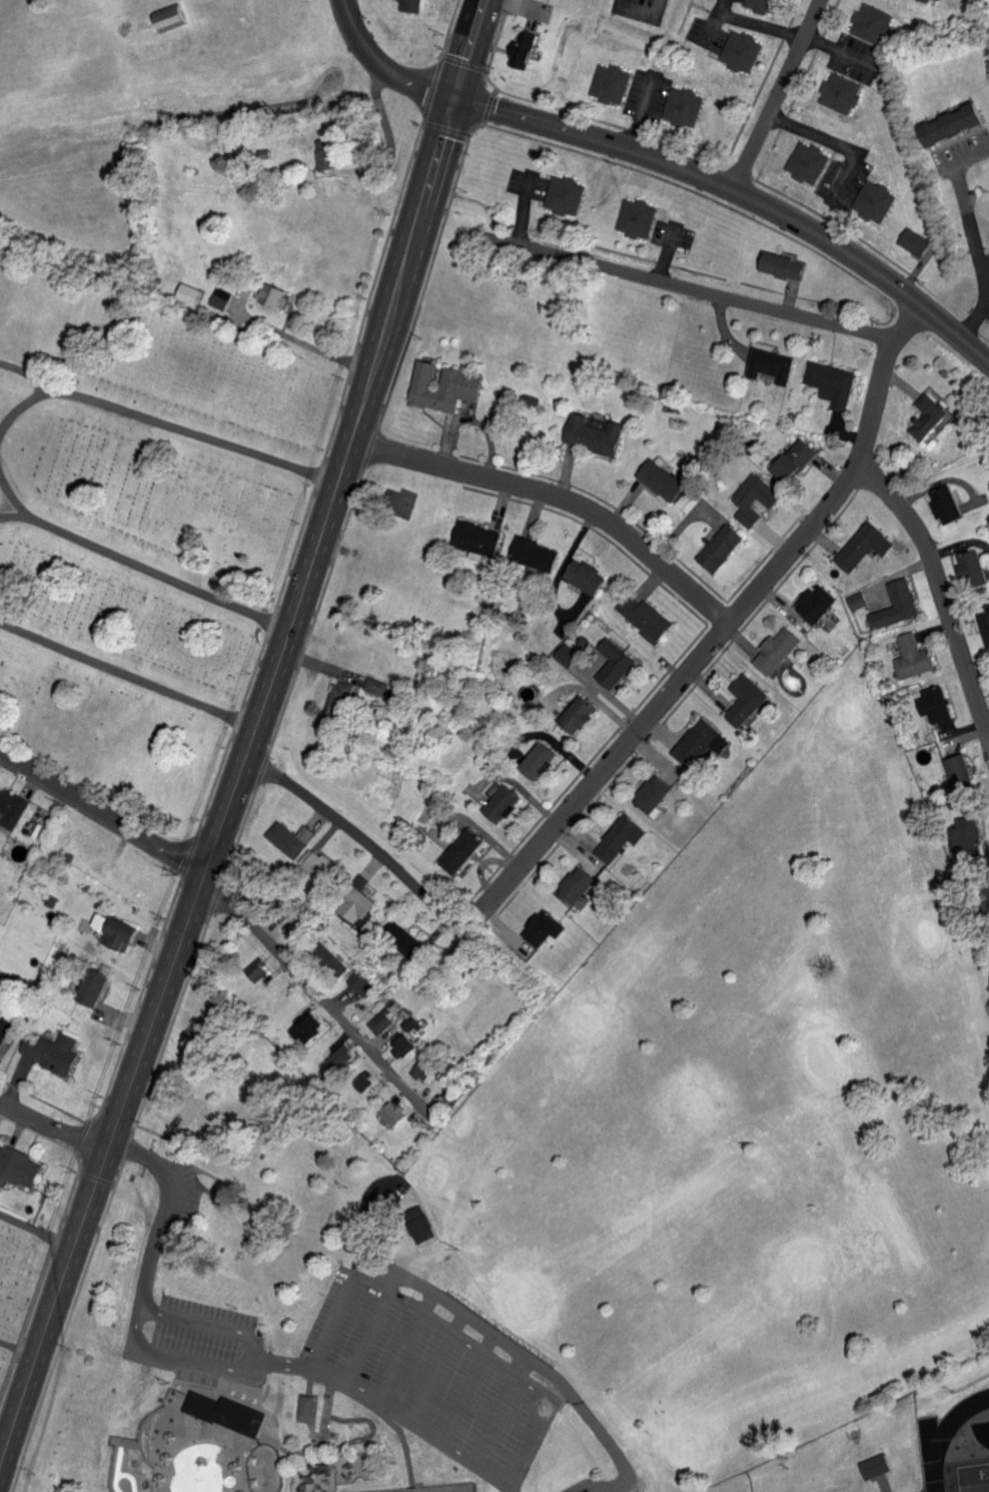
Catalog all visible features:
building: (936, 0)
building: (412, 5)
building: (764, 5)
road: (642, 9)
building: (173, 19)
road: (714, 21)
building: (873, 23)
road: (764, 24)
building: (523, 48)
building: (743, 51)
road: (841, 52)
road: (387, 61)
building: (611, 84)
building: (841, 93)
road: (778, 99)
building: (684, 107)
building: (955, 124)
road: (835, 141)
building: (326, 154)
building: (810, 162)
building: (566, 195)
road: (738, 201)
building: (875, 201)
building: (639, 218)
road: (980, 233)
building: (916, 242)
building: (786, 266)
road: (688, 287)
building: (276, 295)
building: (224, 298)
road: (973, 327)
road: (320, 351)
building: (774, 365)
building: (833, 383)
building: (447, 387)
road: (18, 407)
building: (930, 417)
road: (165, 426)
building: (596, 435)
building: (797, 460)
building: (663, 479)
road: (556, 499)
building: (757, 499)
building: (948, 505)
road: (18, 508)
park: (137, 521)
building: (479, 538)
building: (867, 546)
building: (722, 548)
building: (536, 554)
building: (976, 567)
road: (156, 573)
building: (589, 577)
road: (941, 592)
building: (859, 601)
building: (819, 604)
building: (899, 605)
building: (647, 618)
road: (730, 625)
building: (987, 625)
building: (779, 650)
building: (568, 655)
building: (916, 657)
building: (615, 664)
road: (126, 677)
building: (375, 687)
building: (339, 697)
building: (748, 700)
building: (938, 705)
building: (579, 715)
road: (251, 733)
building: (702, 743)
building: (539, 761)
building: (962, 773)
building: (655, 796)
building: (502, 802)
building: (12, 809)
road: (101, 819)
road: (354, 830)
building: (621, 838)
building: (462, 852)
building: (318, 866)
building: (578, 886)
building: (357, 906)
building: (546, 929)
building: (122, 936)
building: (407, 941)
building: (258, 971)
building: (362, 984)
building: (94, 988)
road: (321, 1000)
building: (382, 1023)
building: (308, 1031)
building: (3, 1032)
building: (405, 1046)
building: (54, 1053)
building: (340, 1058)
building: (415, 1059)
building: (426, 1071)
building: (395, 1114)
road: (52, 1127)
building: (18, 1167)
park: (584, 1196)
building: (425, 1224)
road: (156, 1232)
park: (17, 1277)
parking lot: (200, 1343)
road: (253, 1358)
road: (302, 1369)
parking lot: (439, 1380)
road: (540, 1395)
building: (309, 1408)
building: (228, 1412)
track: (953, 1440)
building: (878, 1466)
park: (974, 1477)
park: (453, 1489)
building: (215, 1490)
building: (593, 1491)

